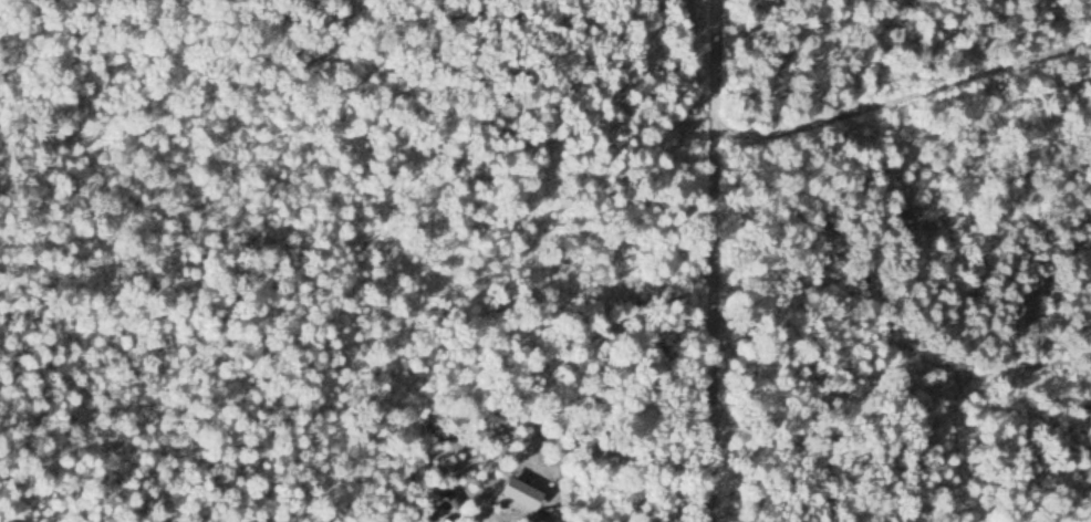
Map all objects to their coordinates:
road: (904, 95)
road: (710, 259)
building: (520, 514)

